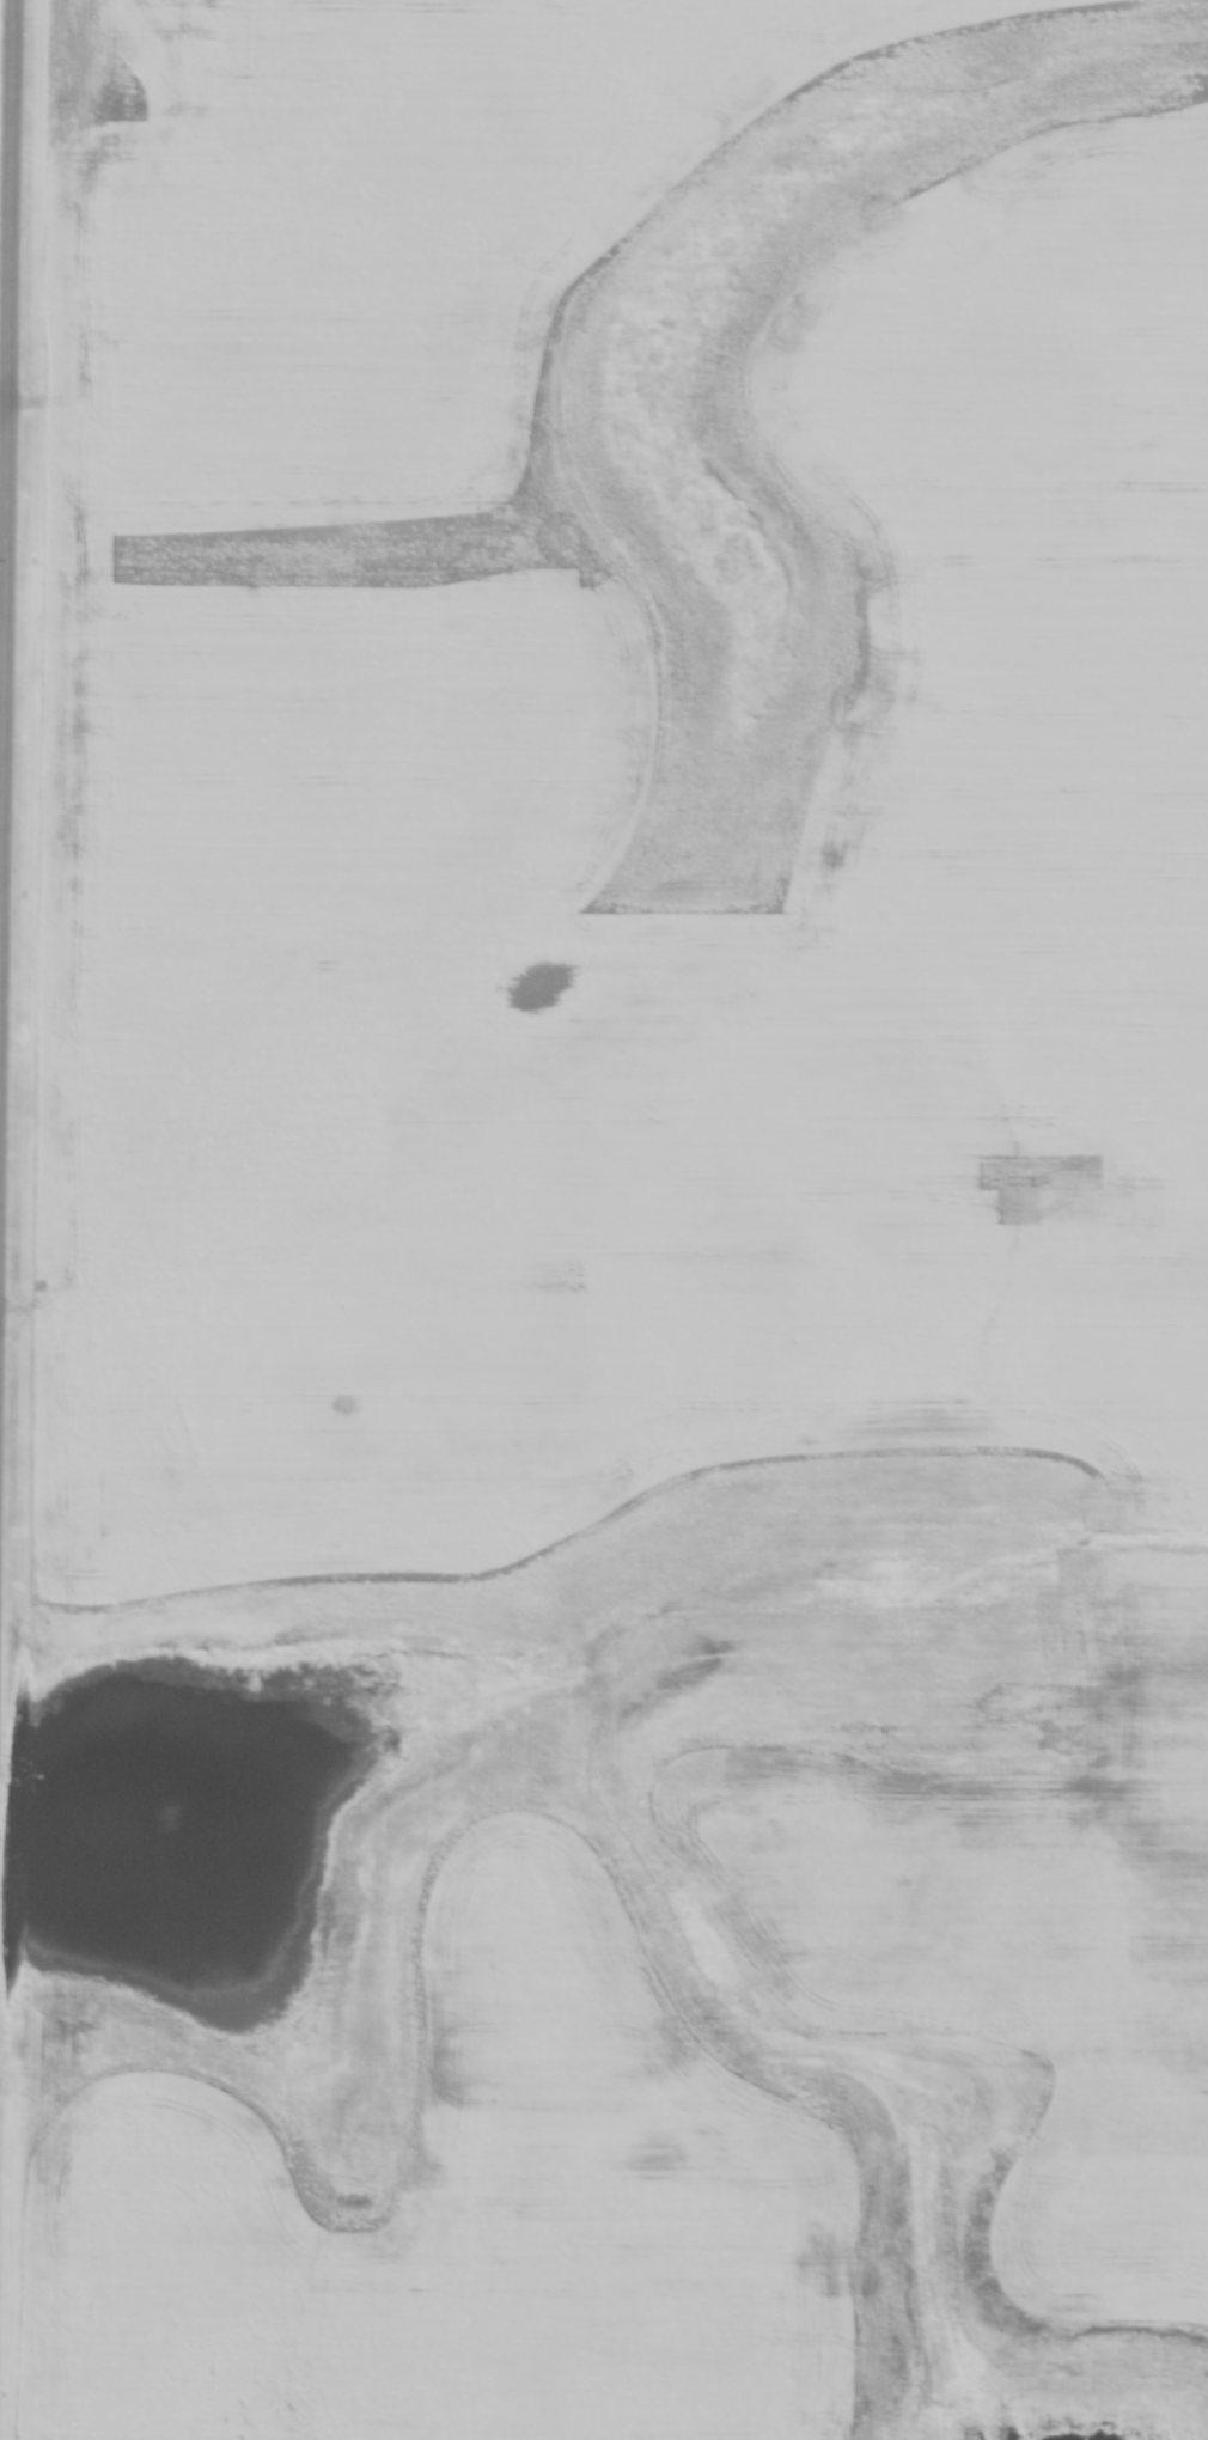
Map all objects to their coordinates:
road: (6, 541)

